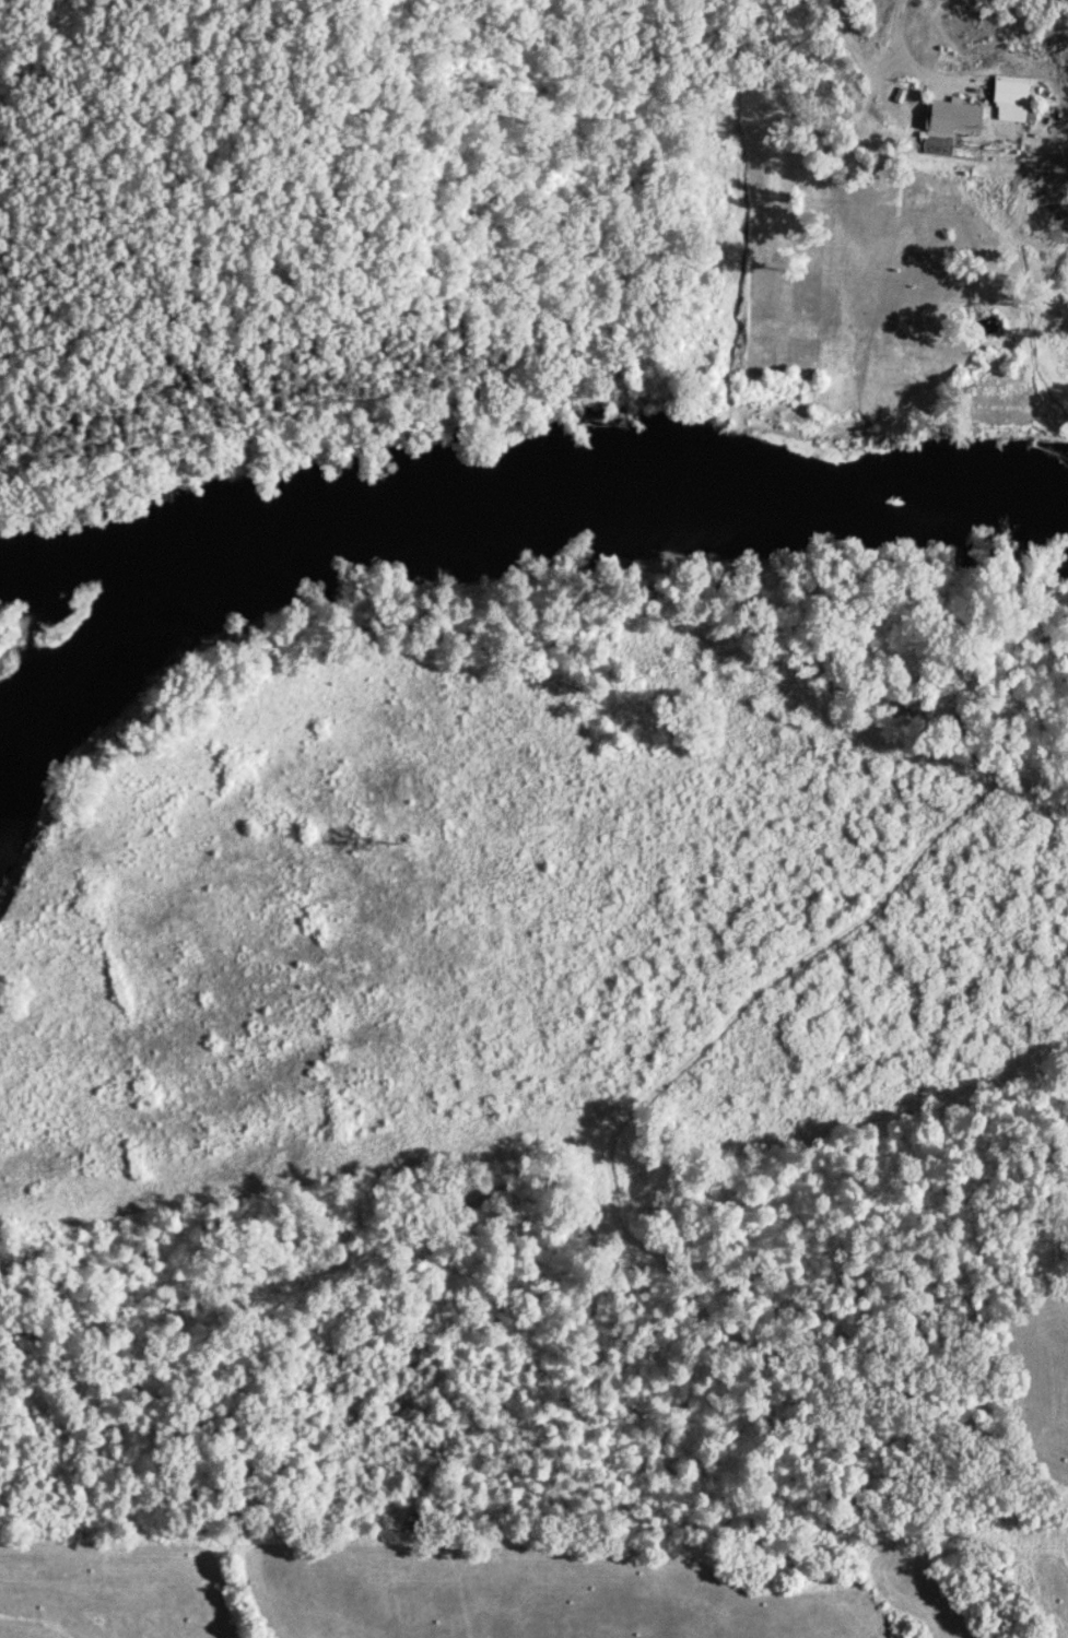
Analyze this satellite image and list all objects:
road: (902, 45)
building: (1017, 98)
building: (962, 116)
river: (518, 518)

